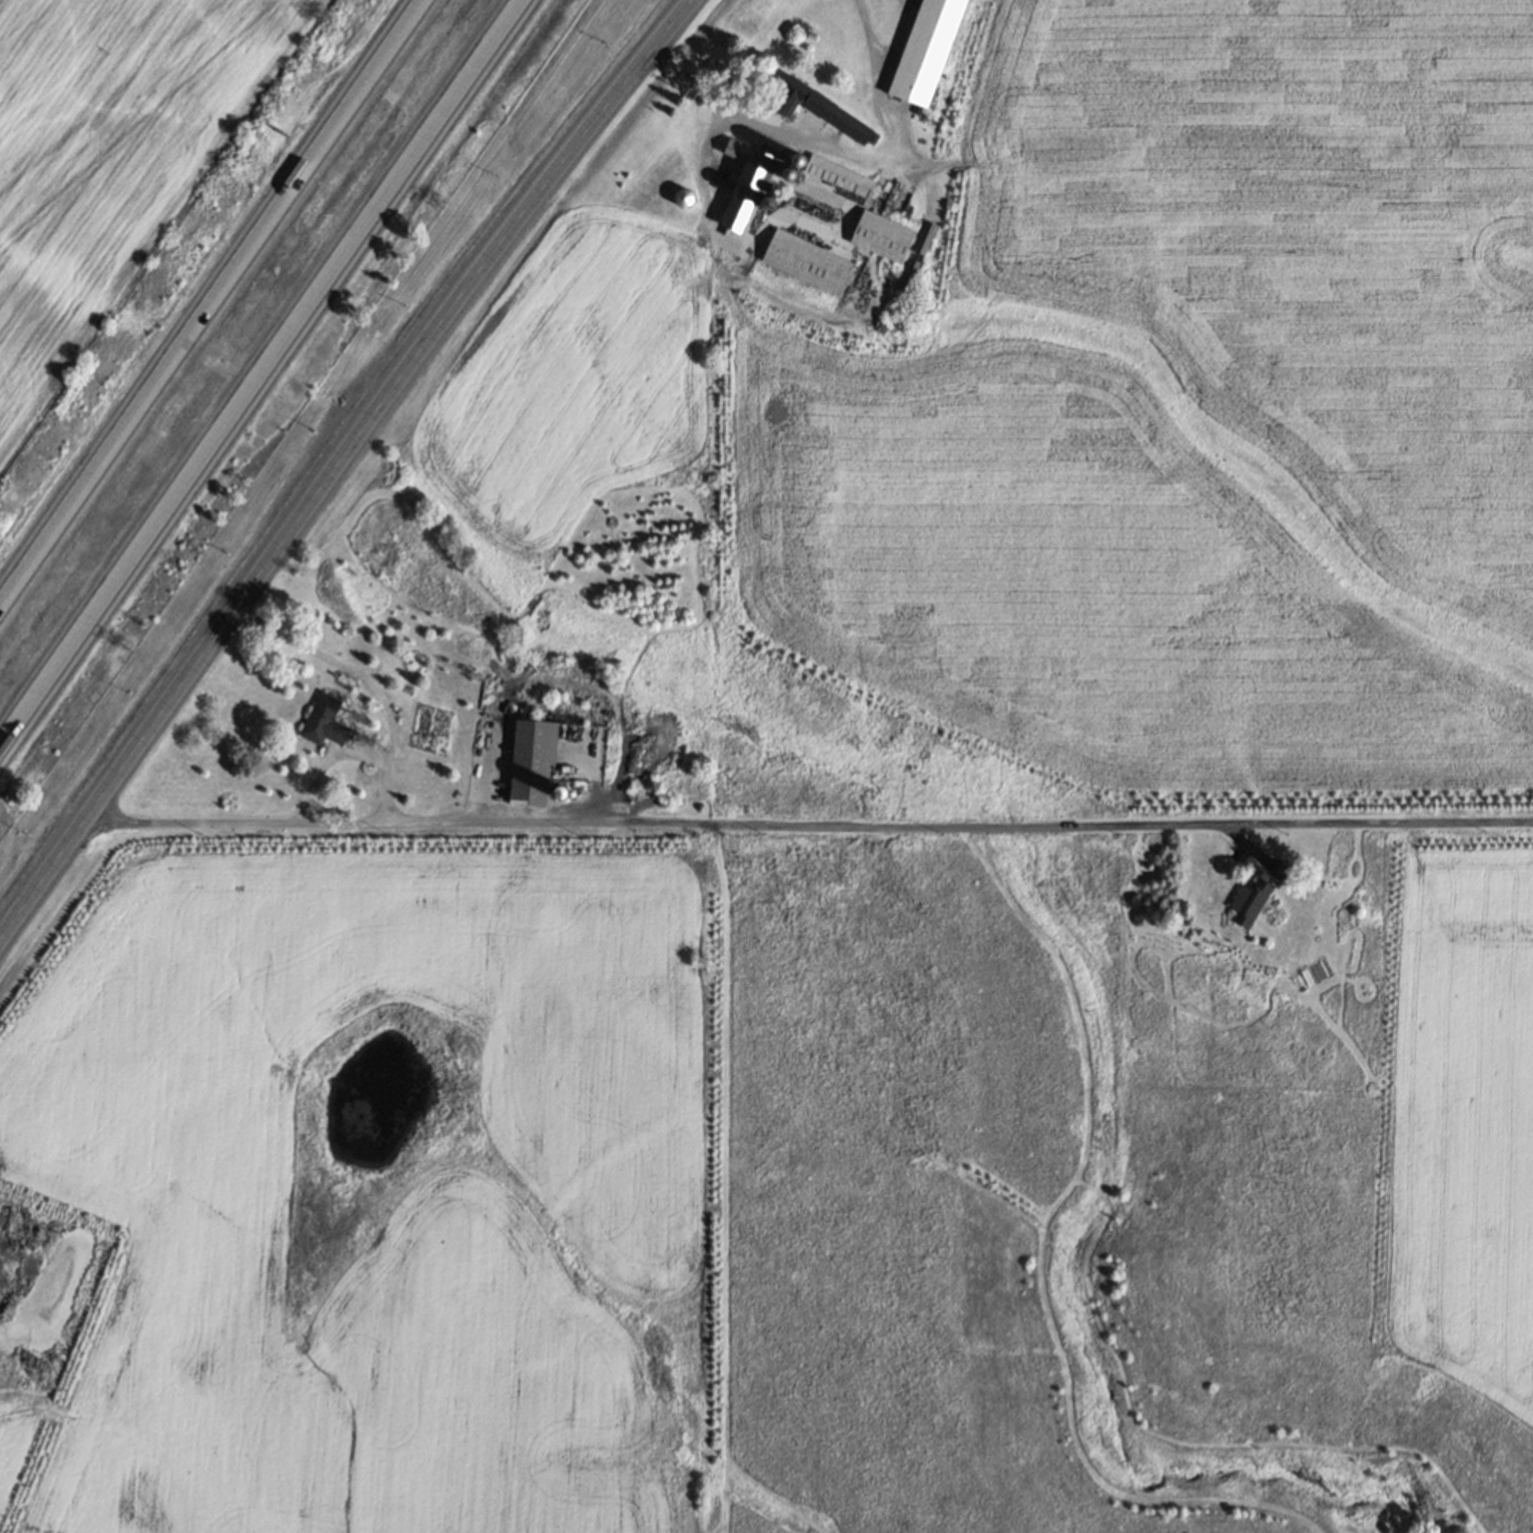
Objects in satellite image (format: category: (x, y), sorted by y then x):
building: (927, 51)
building: (826, 111)
road: (836, 149)
crop: (109, 156)
building: (762, 172)
building: (833, 174)
building: (684, 198)
building: (738, 214)
building: (883, 236)
building: (807, 261)
road: (202, 290)
road: (272, 387)
road: (343, 470)
building: (324, 721)
road: (347, 749)
building: (531, 763)
road: (812, 826)
building: (1285, 872)
building: (1250, 901)

